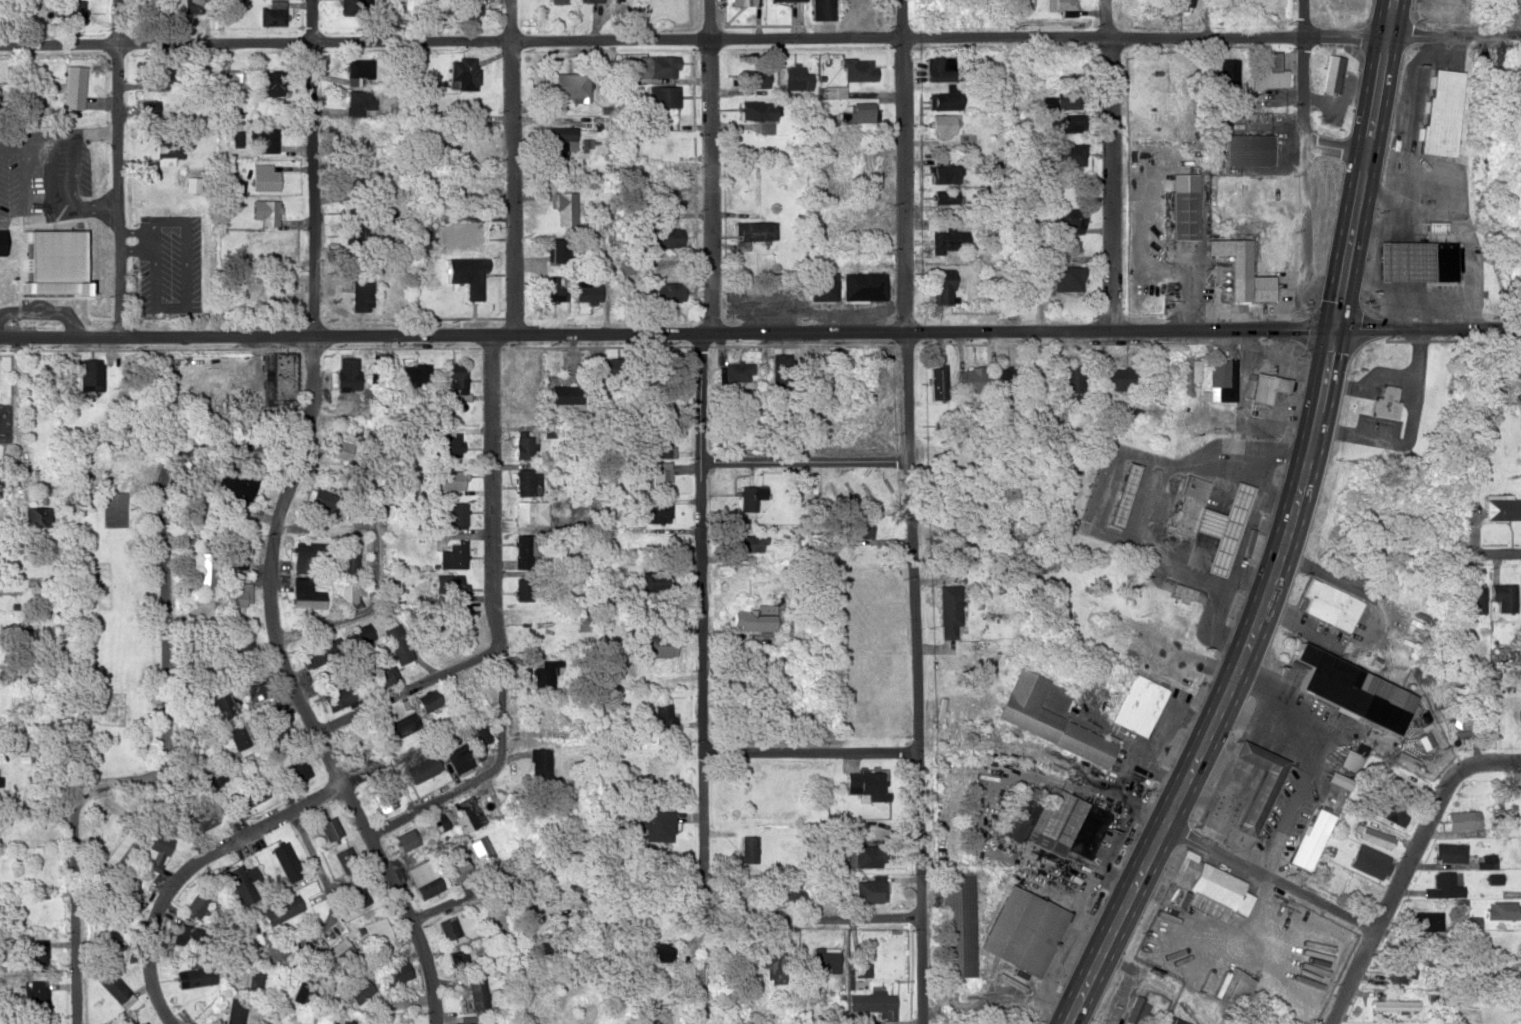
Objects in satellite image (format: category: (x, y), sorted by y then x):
building: (363, 0)
building: (557, 0)
building: (586, 0)
building: (786, 0)
building: (1180, 3)
building: (1061, 5)
building: (464, 9)
building: (821, 9)
building: (75, 11)
building: (271, 13)
road: (760, 37)
building: (660, 66)
building: (936, 67)
building: (856, 68)
building: (1267, 69)
building: (462, 73)
building: (1332, 73)
building: (794, 75)
building: (754, 77)
building: (237, 82)
building: (277, 82)
building: (72, 86)
building: (569, 86)
building: (662, 95)
building: (355, 99)
building: (943, 103)
building: (149, 108)
building: (755, 109)
building: (860, 111)
building: (1440, 111)
building: (1064, 121)
building: (940, 123)
road: (1304, 134)
building: (559, 135)
road: (60, 140)
building: (264, 140)
building: (463, 143)
road: (1335, 148)
building: (1247, 149)
building: (168, 151)
building: (1069, 153)
building: (854, 163)
road: (1109, 164)
road: (121, 168)
building: (944, 173)
building: (263, 177)
building: (348, 179)
building: (465, 181)
building: (943, 196)
building: (563, 208)
building: (264, 212)
building: (860, 213)
building: (1181, 214)
building: (1067, 219)
building: (753, 229)
road: (315, 230)
building: (661, 236)
building: (947, 239)
building: (1, 240)
building: (264, 246)
building: (1063, 246)
building: (552, 249)
building: (54, 260)
building: (1416, 260)
parking lot: (169, 263)
building: (1238, 270)
building: (465, 274)
building: (1062, 279)
building: (859, 285)
building: (817, 286)
building: (938, 287)
building: (548, 288)
building: (583, 288)
building: (262, 290)
building: (665, 291)
building: (361, 295)
road: (46, 309)
road: (760, 331)
building: (736, 371)
building: (1190, 372)
building: (347, 373)
building: (524, 373)
building: (90, 374)
building: (414, 374)
building: (1071, 378)
building: (1118, 378)
building: (280, 379)
building: (969, 379)
building: (1220, 379)
building: (938, 381)
building: (1003, 381)
building: (453, 383)
building: (1266, 386)
road: (492, 392)
road: (8, 394)
building: (563, 395)
building: (4, 396)
road: (250, 399)
building: (1383, 400)
building: (660, 443)
building: (448, 446)
building: (520, 446)
building: (334, 452)
road: (230, 458)
road: (806, 459)
building: (661, 475)
building: (447, 479)
building: (524, 481)
building: (234, 485)
building: (869, 493)
building: (1123, 494)
building: (748, 498)
building: (317, 499)
road: (701, 503)
building: (1503, 507)
building: (657, 509)
building: (528, 511)
road: (911, 512)
building: (450, 514)
building: (1212, 524)
building: (858, 527)
road: (1289, 530)
building: (748, 543)
road: (270, 547)
building: (237, 550)
building: (521, 550)
building: (305, 551)
road: (1503, 552)
building: (452, 553)
building: (347, 561)
building: (295, 566)
road: (376, 571)
building: (655, 580)
building: (350, 590)
building: (238, 593)
building: (302, 595)
building: (1503, 595)
building: (1474, 596)
building: (1333, 605)
building: (948, 610)
building: (581, 621)
building: (360, 634)
building: (241, 641)
building: (653, 642)
building: (398, 645)
building: (310, 657)
building: (380, 673)
building: (539, 678)
building: (257, 684)
road: (408, 688)
building: (1349, 688)
building: (341, 695)
building: (464, 695)
building: (428, 699)
building: (223, 704)
building: (1140, 704)
building: (1049, 715)
building: (659, 716)
building: (548, 721)
building: (275, 724)
building: (401, 726)
building: (244, 735)
building: (479, 738)
building: (354, 739)
road: (810, 750)
building: (459, 757)
building: (1351, 759)
road: (1501, 760)
building: (540, 764)
building: (423, 768)
building: (293, 770)
road: (156, 778)
building: (0, 780)
building: (1257, 782)
building: (865, 783)
building: (252, 793)
building: (383, 798)
road: (425, 805)
building: (469, 812)
building: (1393, 812)
building: (1464, 819)
building: (201, 820)
building: (1057, 820)
building: (440, 823)
building: (659, 825)
building: (325, 827)
road: (366, 829)
building: (1377, 835)
building: (1310, 837)
building: (405, 839)
building: (155, 846)
building: (747, 848)
building: (483, 849)
building: (1451, 851)
building: (115, 854)
building: (866, 855)
building: (341, 857)
road: (315, 859)
building: (1490, 859)
building: (281, 860)
building: (1370, 860)
road: (186, 866)
building: (1323, 870)
road: (1271, 876)
building: (424, 880)
building: (1211, 882)
building: (242, 883)
road: (1398, 883)
building: (1444, 885)
building: (868, 889)
building: (121, 890)
building: (39, 893)
building: (352, 893)
road: (451, 901)
building: (1504, 909)
building: (278, 910)
road: (746, 918)
building: (1428, 919)
building: (957, 923)
building: (446, 927)
building: (1023, 929)
building: (373, 930)
building: (533, 950)
building: (656, 951)
building: (231, 955)
building: (824, 955)
building: (38, 958)
building: (459, 958)
building: (774, 964)
building: (860, 969)
building: (393, 972)
building: (1401, 973)
building: (1505, 975)
building: (254, 982)
building: (113, 988)
building: (358, 990)
building: (477, 992)
building: (1395, 1004)
building: (870, 1006)
building: (1140, 1009)
building: (234, 1011)
building: (345, 1022)
building: (465, 1022)

